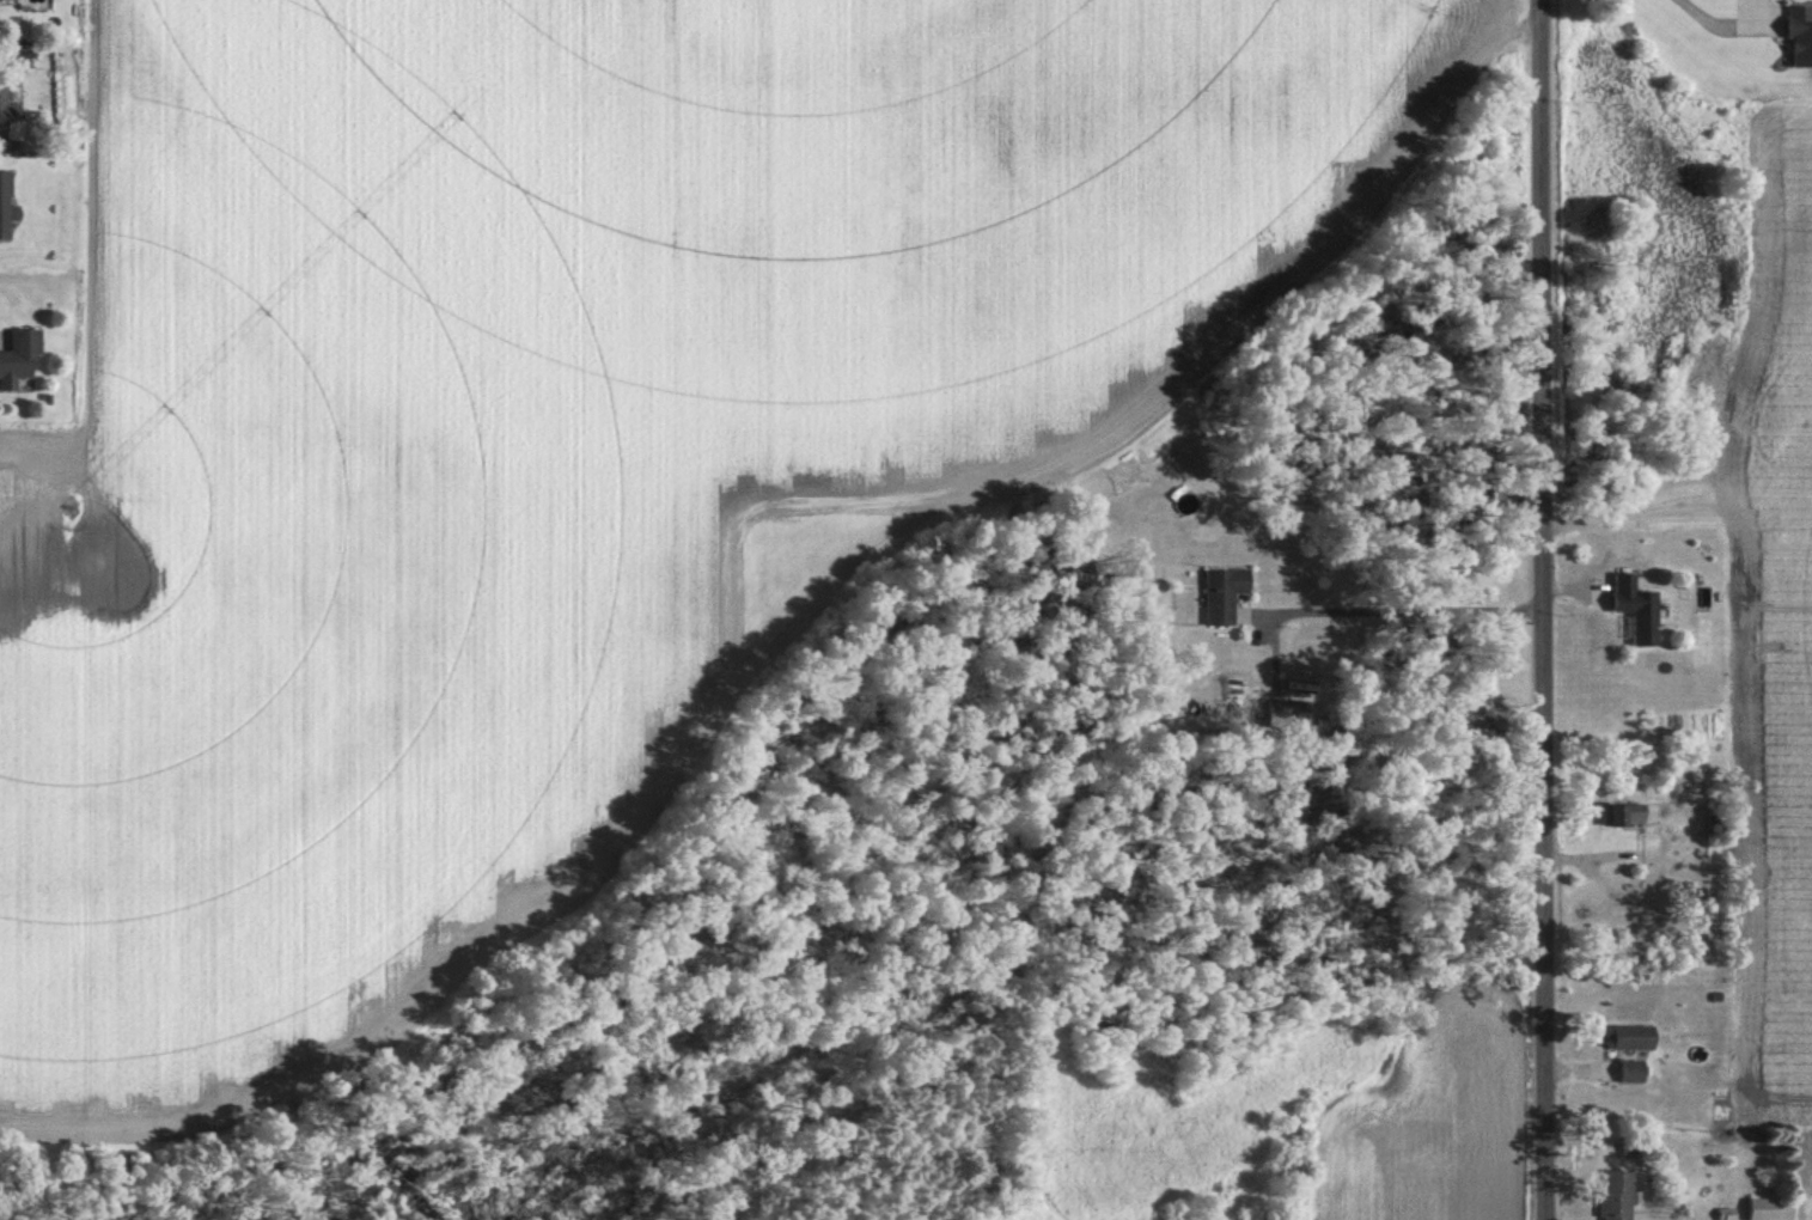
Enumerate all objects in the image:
building: (4, 1)
building: (13, 61)
building: (6, 111)
building: (5, 207)
road: (31, 274)
building: (16, 355)
building: (1220, 594)
road: (1546, 609)
building: (1633, 609)
building: (1619, 816)
building: (1627, 1038)
building: (1628, 1073)
building: (1636, 1148)
building: (1612, 1195)
building: (1769, 1209)

